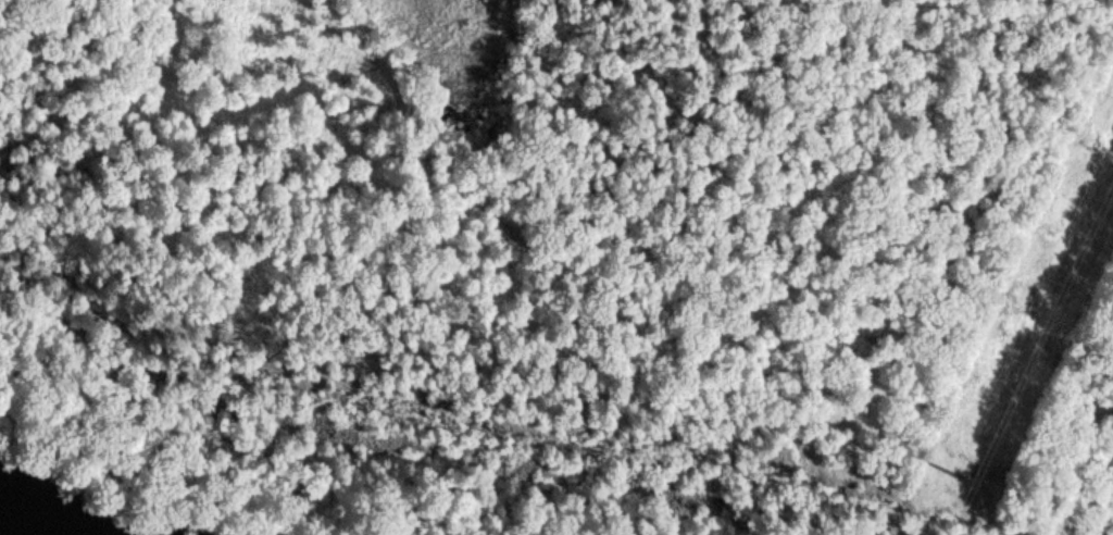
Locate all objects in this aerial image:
power tower: (997, 486)

